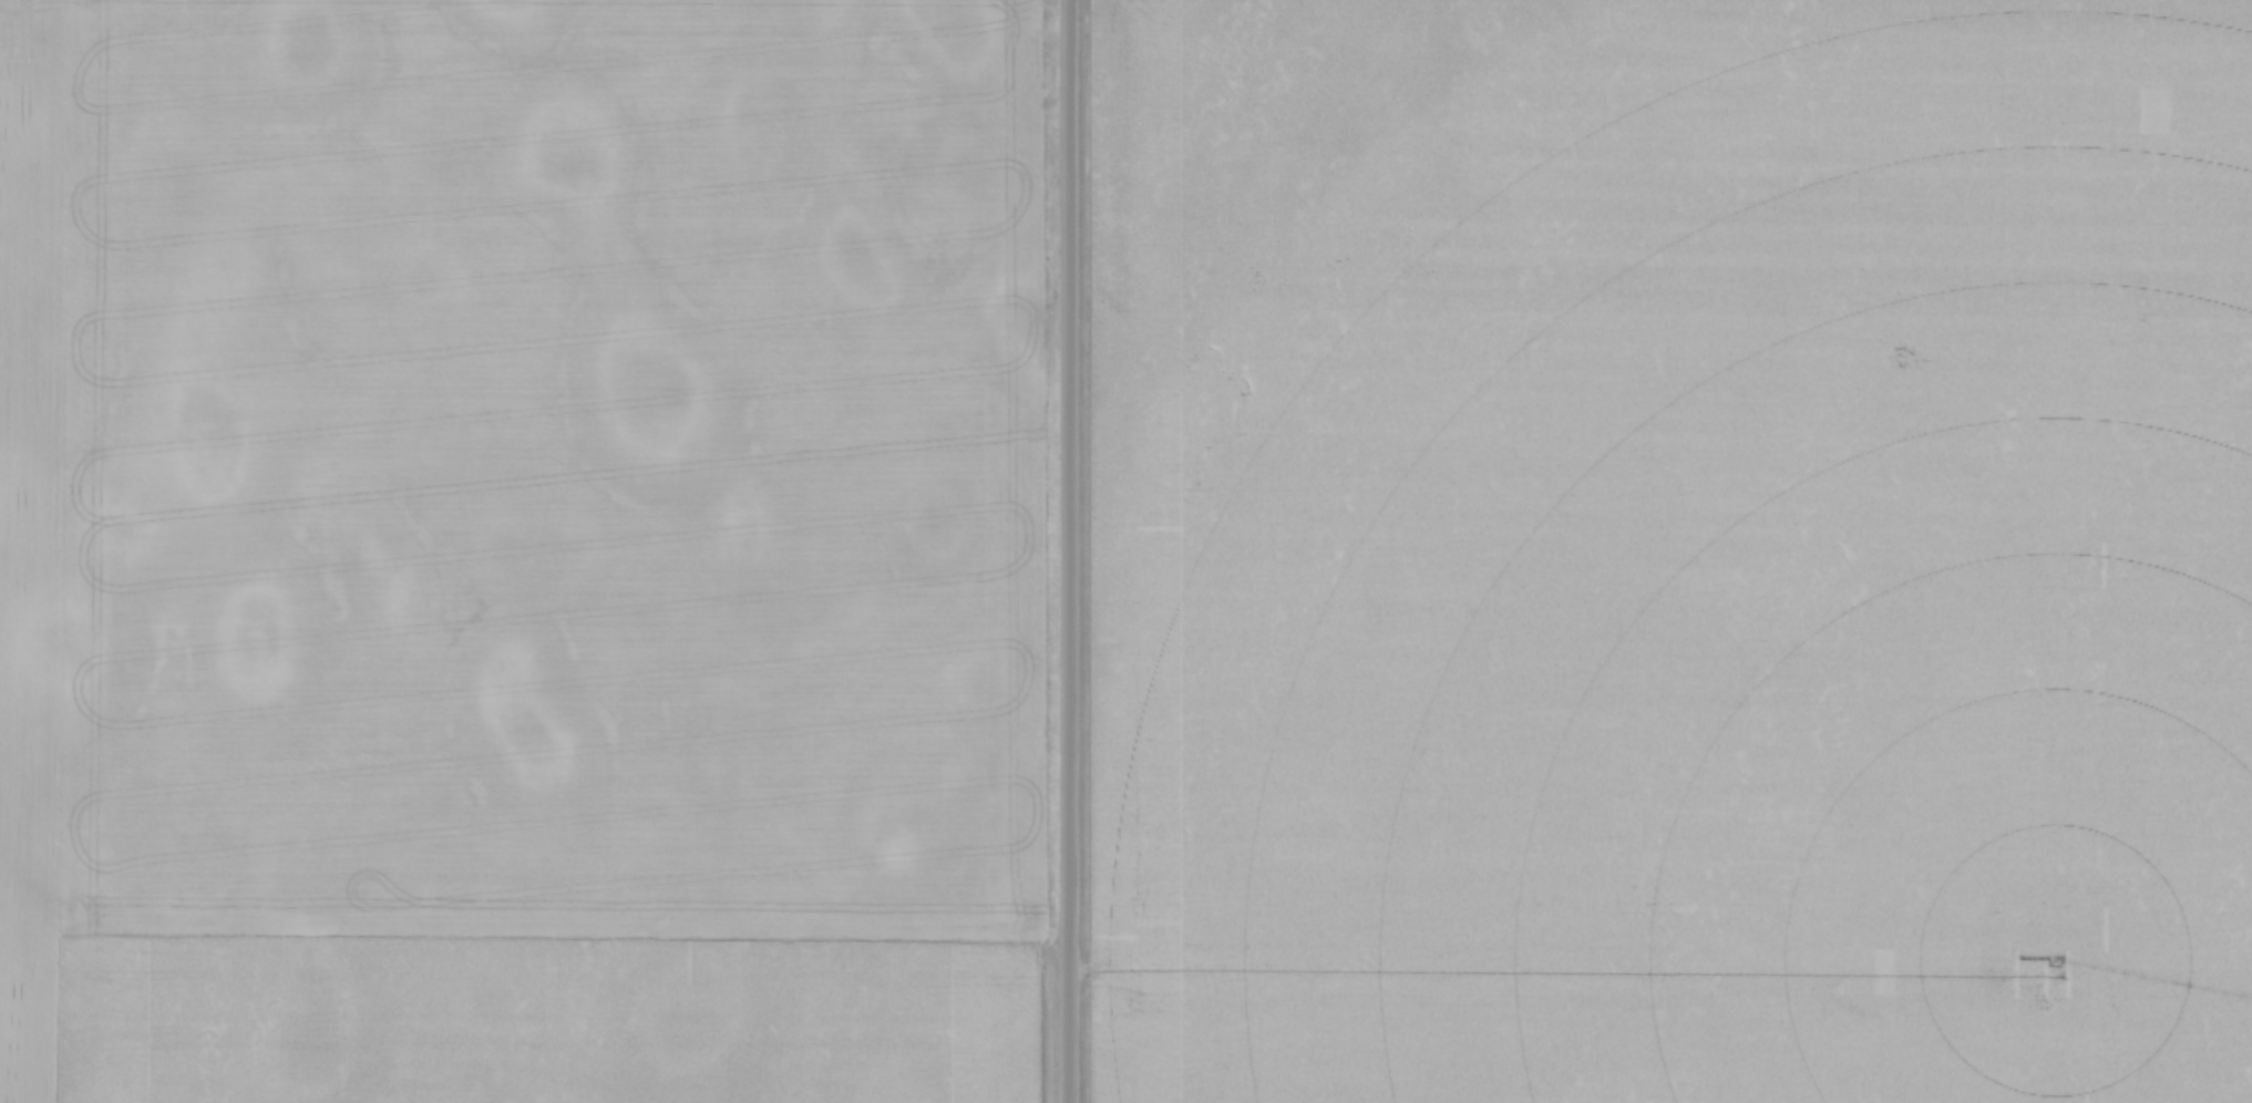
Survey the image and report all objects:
road: (1068, 550)
building: (1776, 951)
road: (1427, 979)
building: (1738, 1033)
building: (1862, 1041)
building: (1904, 1086)

